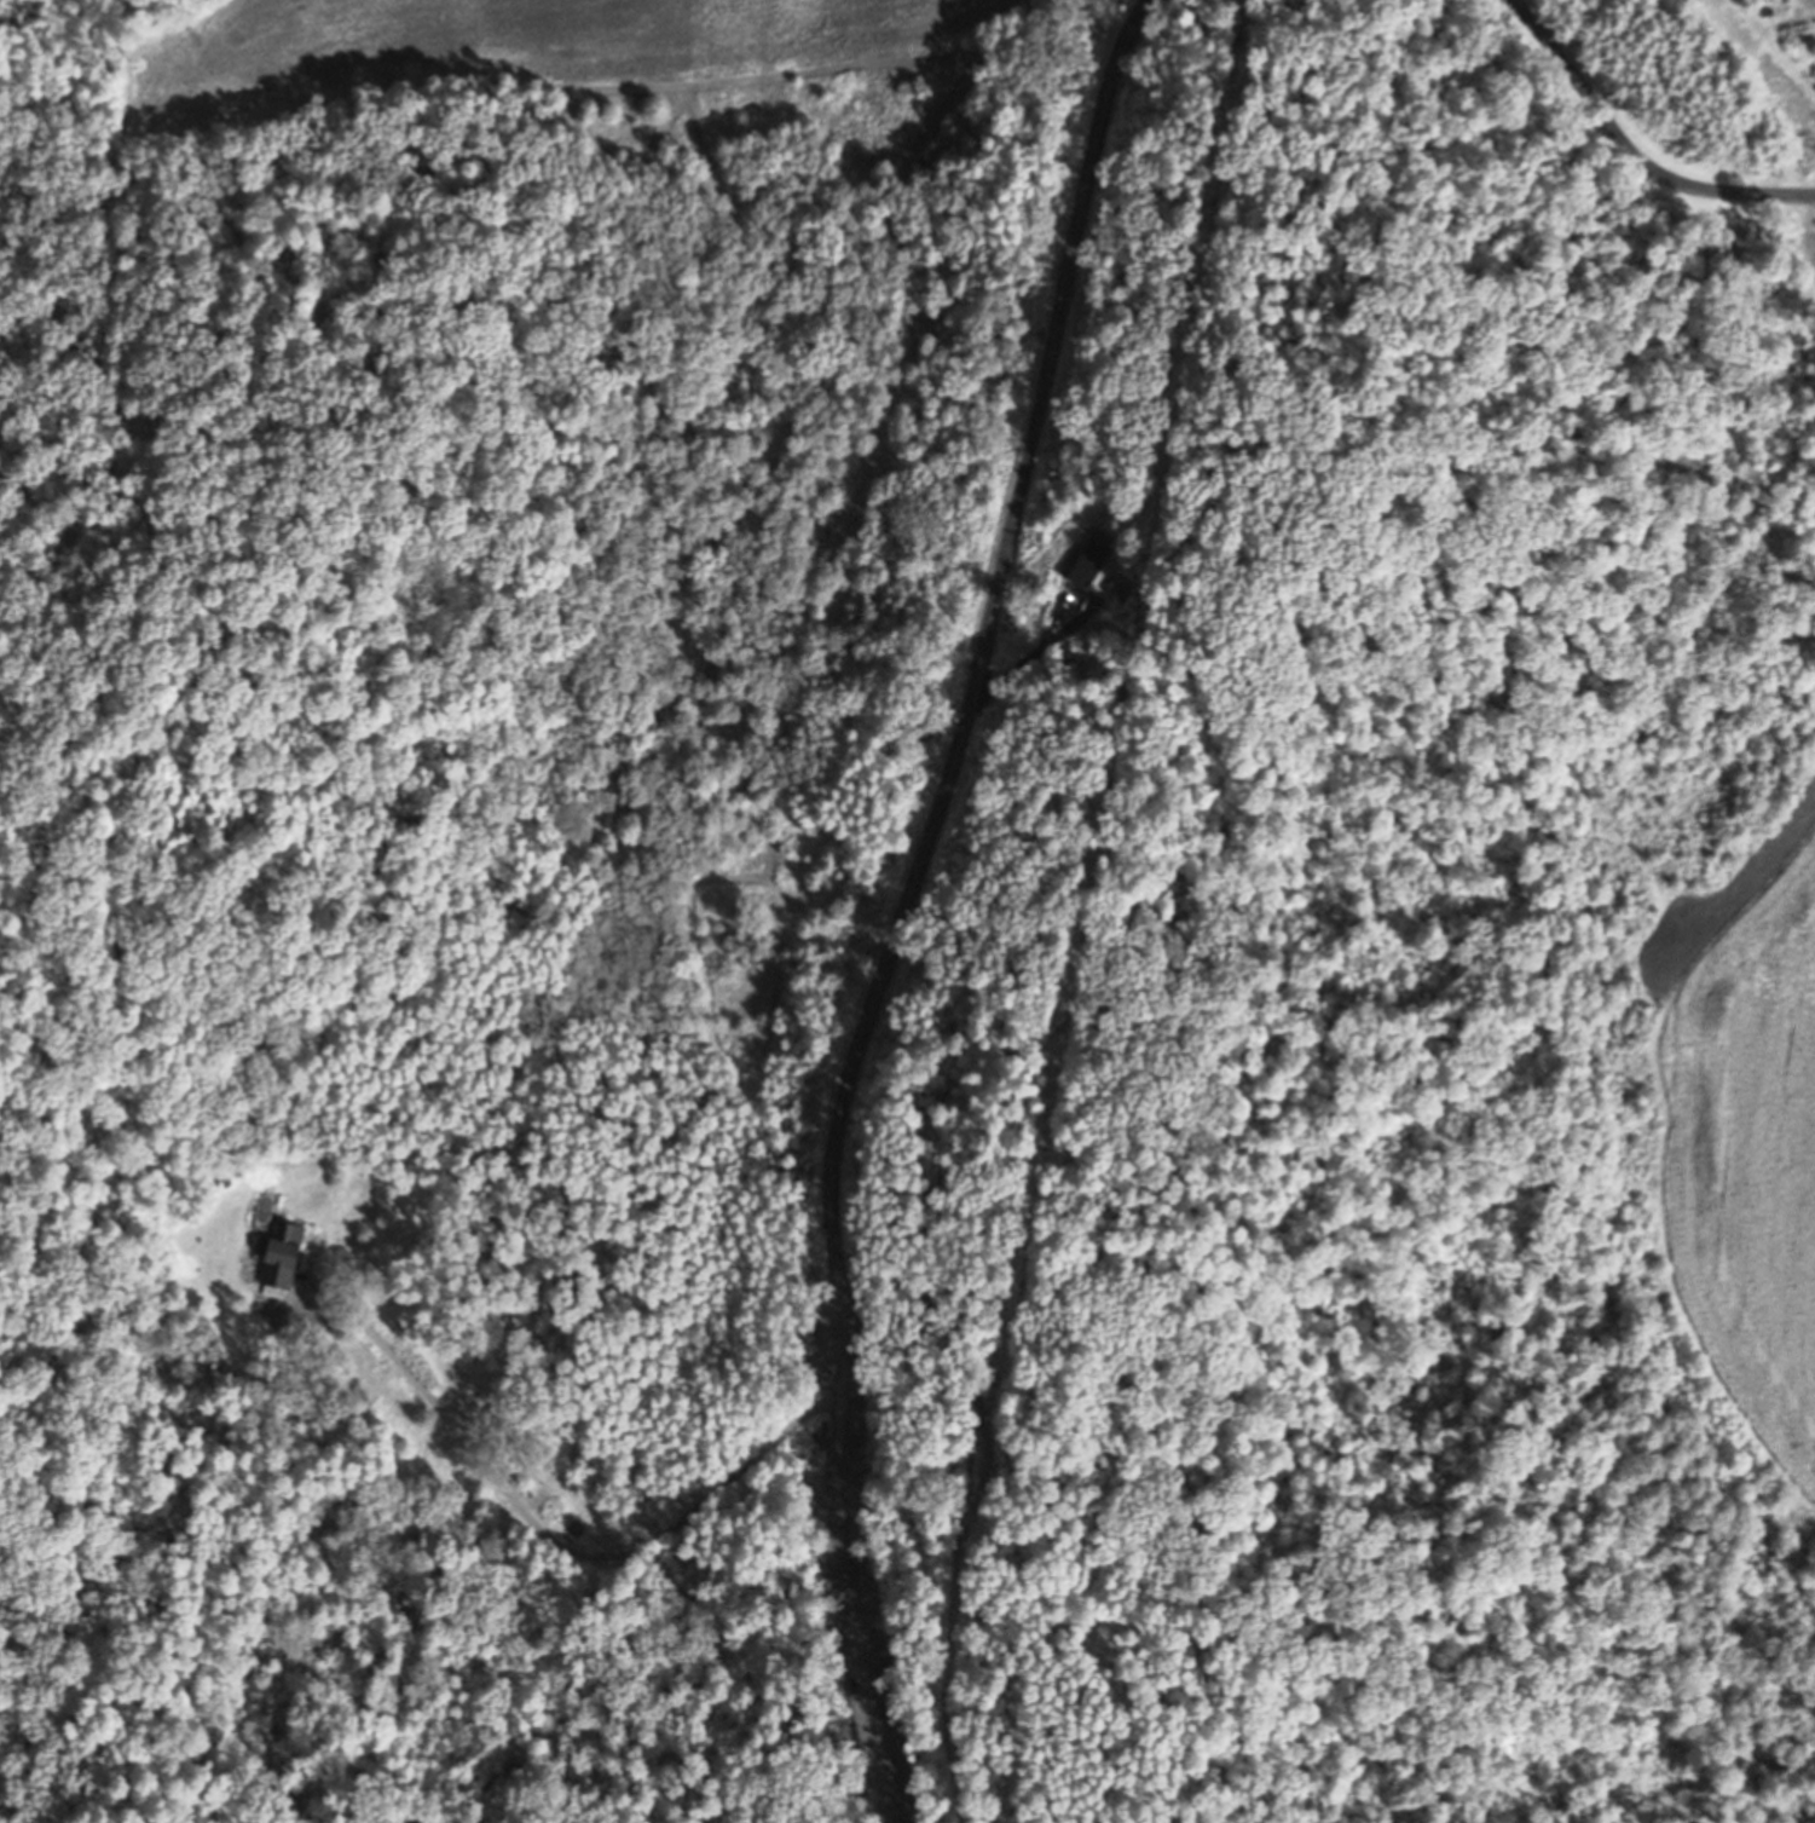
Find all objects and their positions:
road: (1632, 152)
building: (1086, 566)
building: (1127, 585)
road: (1030, 656)
road: (907, 901)
building: (281, 1254)
road: (550, 1542)

